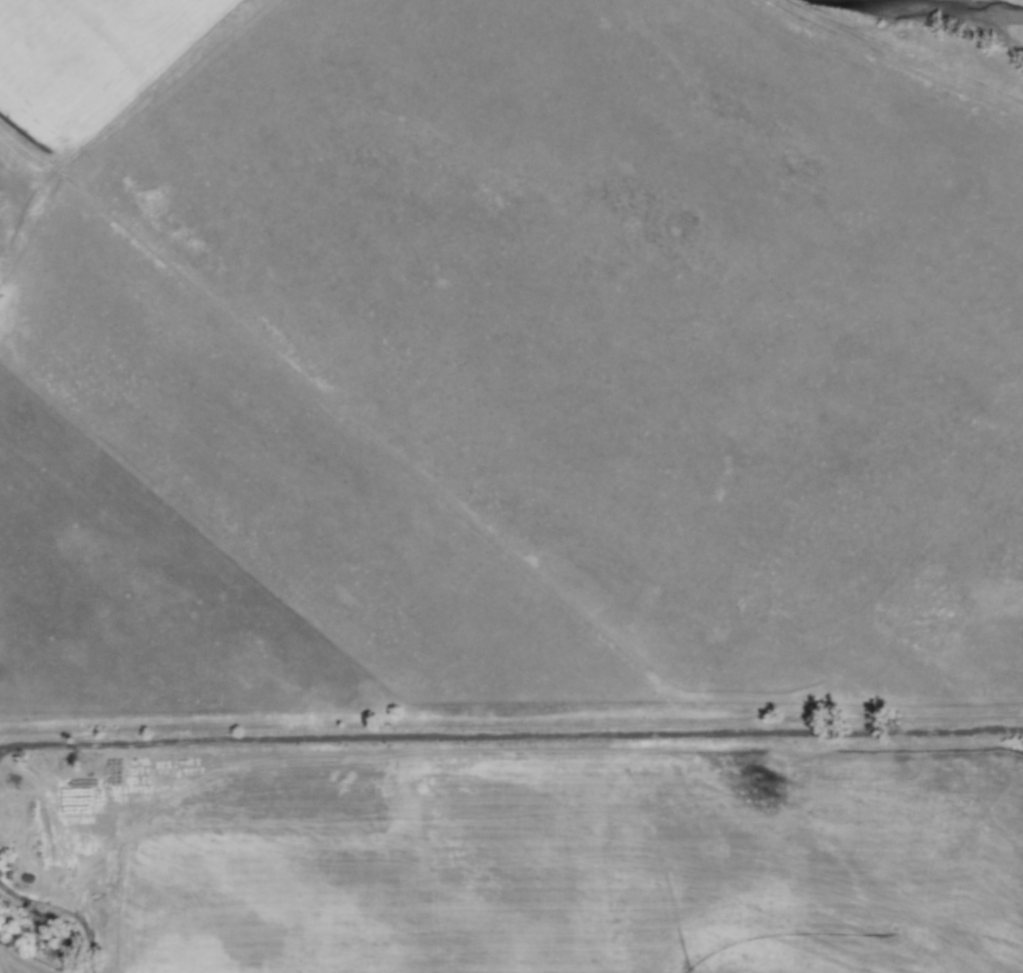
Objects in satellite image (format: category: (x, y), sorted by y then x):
river: (963, 8)
road: (511, 736)

